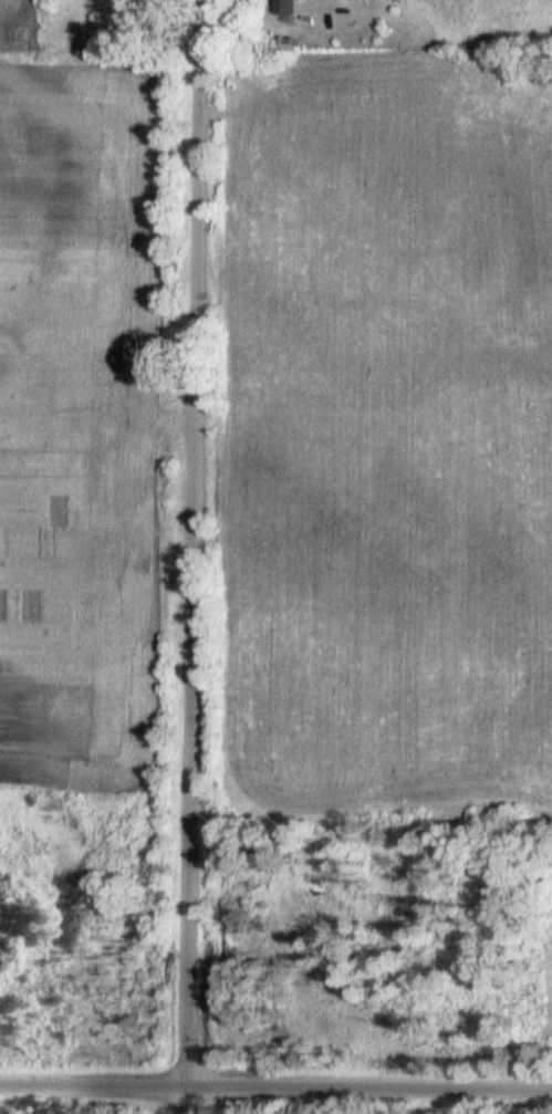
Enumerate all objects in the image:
building: (288, 7)
road: (191, 556)
road: (275, 1085)

